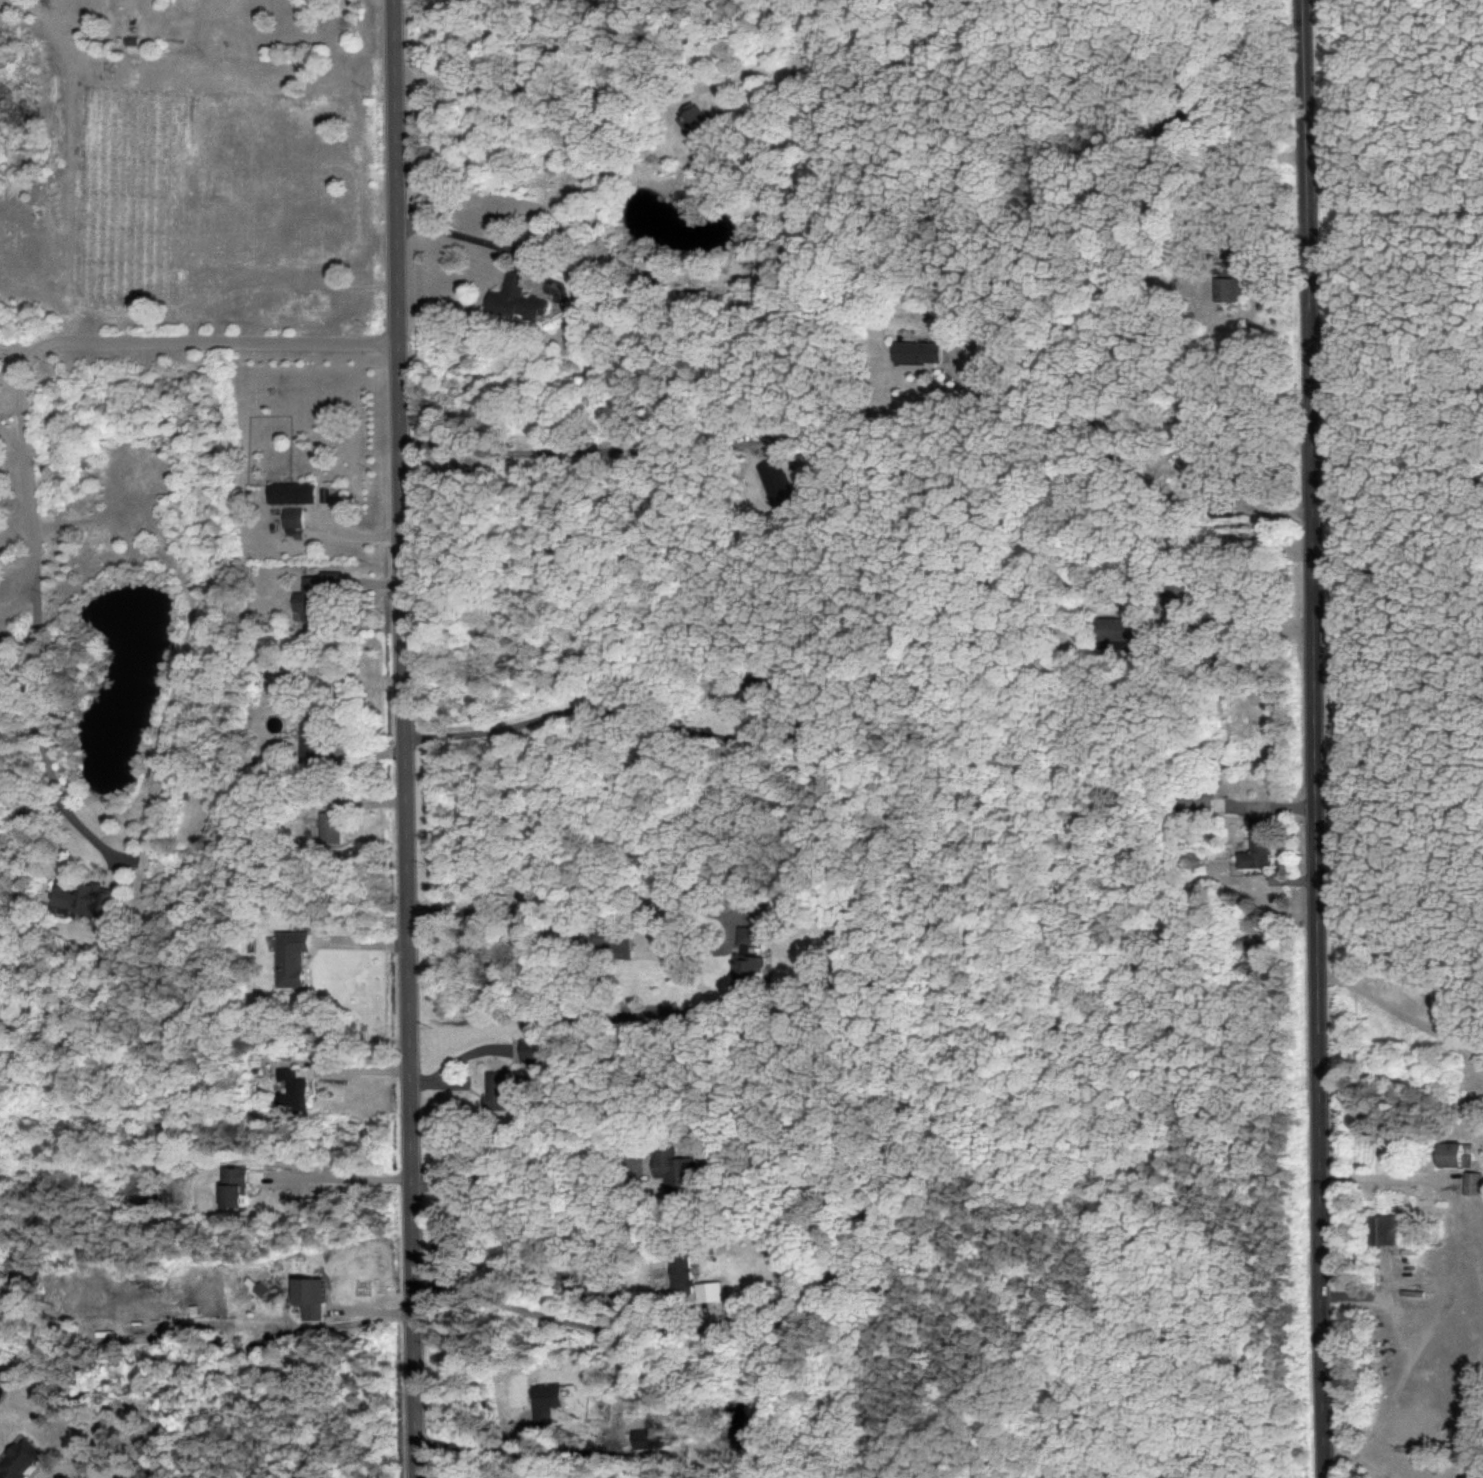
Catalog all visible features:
road: (156, 63)
building: (690, 119)
road: (1396, 184)
road: (457, 234)
building: (1227, 285)
building: (515, 299)
road: (61, 341)
building: (917, 352)
road: (1397, 395)
road: (9, 399)
road: (1135, 417)
building: (776, 483)
building: (291, 492)
building: (1221, 509)
building: (292, 517)
road: (1398, 580)
building: (314, 594)
road: (6, 606)
road: (1258, 622)
building: (1112, 631)
road: (573, 707)
road: (1317, 738)
road: (403, 739)
road: (40, 740)
road: (1399, 794)
building: (1195, 798)
building: (329, 828)
building: (1255, 846)
building: (86, 899)
road: (570, 900)
building: (614, 941)
building: (748, 954)
building: (291, 958)
building: (533, 1051)
building: (495, 1092)
building: (290, 1093)
building: (1451, 1156)
road: (520, 1164)
building: (676, 1170)
road: (336, 1172)
road: (1381, 1178)
building: (1471, 1183)
building: (231, 1187)
building: (1381, 1230)
building: (681, 1274)
building: (710, 1292)
building: (308, 1298)
road: (544, 1313)
building: (546, 1402)
building: (646, 1439)
road: (470, 1446)
building: (19, 1459)

